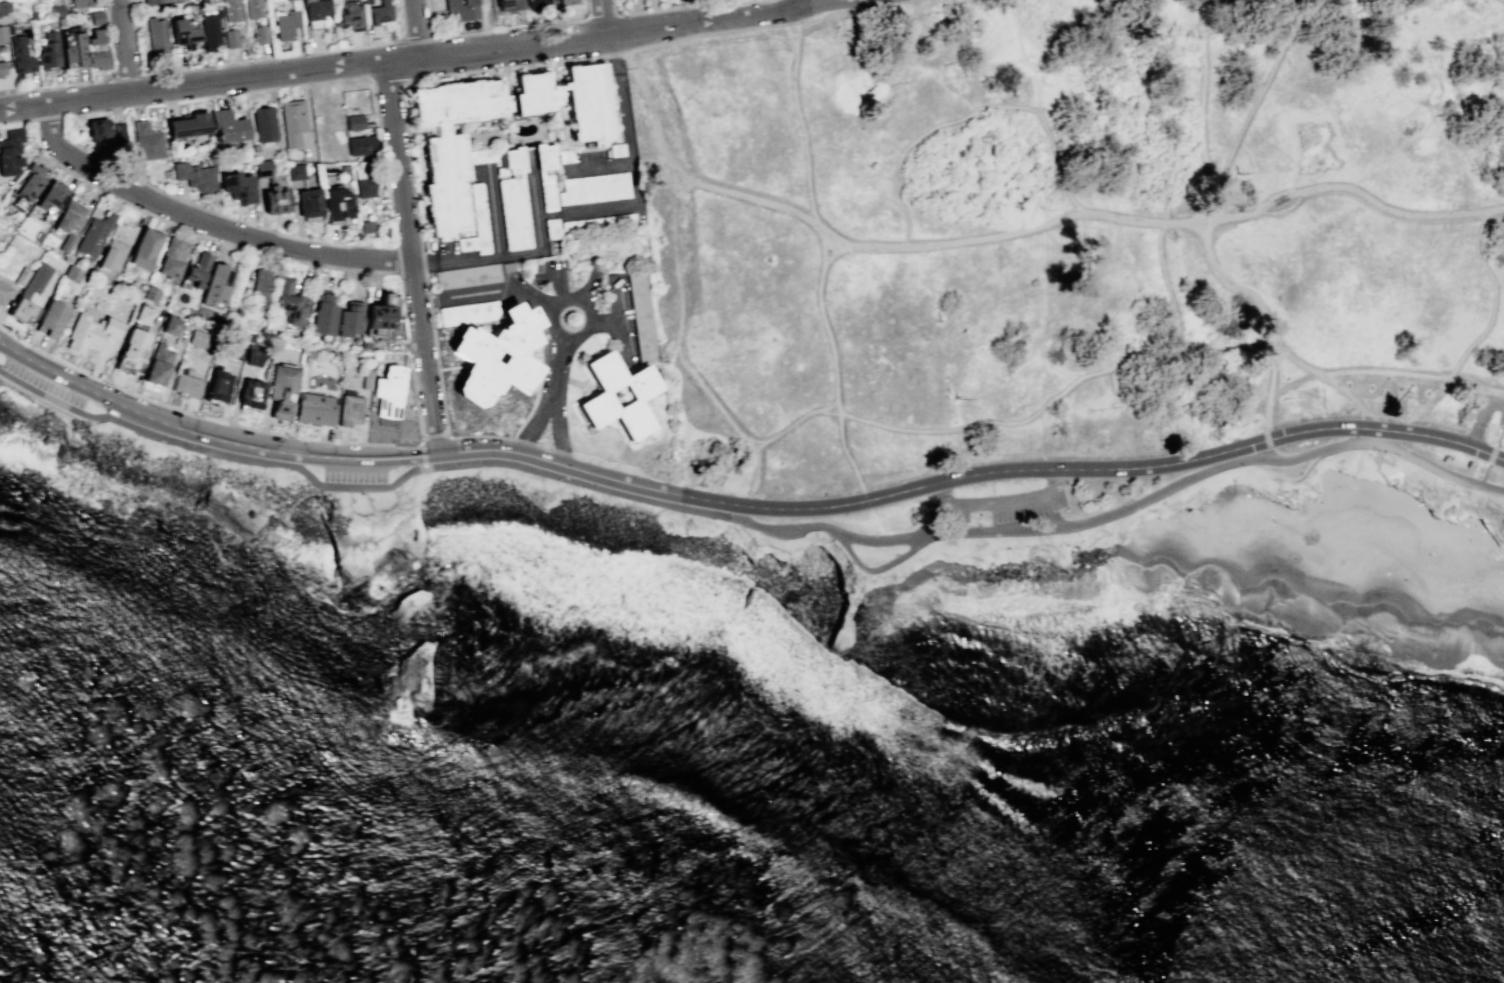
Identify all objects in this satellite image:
road: (1503, 0)
building: (52, 1)
building: (162, 1)
building: (365, 1)
building: (566, 1)
building: (80, 3)
building: (534, 3)
building: (508, 4)
road: (801, 5)
building: (4, 7)
road: (679, 7)
building: (253, 8)
building: (55, 10)
building: (230, 10)
building: (460, 10)
building: (314, 12)
building: (31, 14)
building: (349, 14)
building: (380, 14)
road: (598, 14)
building: (96, 17)
road: (603, 17)
road: (734, 18)
road: (401, 21)
road: (1347, 21)
building: (285, 25)
road: (417, 28)
building: (8, 29)
road: (488, 29)
building: (209, 30)
building: (2, 33)
building: (182, 33)
building: (259, 34)
building: (155, 36)
building: (230, 38)
road: (413, 38)
building: (1, 46)
building: (72, 47)
road: (125, 47)
building: (96, 50)
building: (48, 51)
building: (20, 54)
road: (270, 57)
building: (1, 68)
road: (1439, 68)
road: (302, 70)
road: (1261, 86)
road: (43, 87)
road: (387, 88)
road: (399, 90)
building: (569, 101)
road: (1203, 110)
road: (800, 117)
road: (46, 120)
building: (292, 121)
building: (353, 122)
building: (263, 123)
building: (187, 125)
building: (226, 126)
building: (97, 128)
building: (119, 134)
building: (146, 141)
building: (451, 143)
building: (360, 144)
road: (381, 144)
building: (616, 149)
building: (10, 152)
building: (481, 155)
building: (564, 155)
road: (599, 167)
building: (294, 172)
building: (545, 173)
building: (193, 175)
building: (363, 178)
building: (28, 182)
road: (1477, 183)
road: (533, 185)
building: (237, 187)
building: (593, 188)
building: (271, 189)
road: (165, 193)
building: (51, 195)
building: (513, 199)
building: (308, 204)
building: (337, 204)
road: (592, 211)
road: (1282, 211)
road: (493, 213)
building: (69, 216)
road: (296, 218)
building: (475, 223)
road: (204, 224)
building: (366, 227)
road: (1013, 230)
building: (94, 233)
park: (1074, 234)
building: (39, 237)
road: (299, 237)
building: (67, 243)
road: (347, 244)
road: (822, 244)
building: (144, 248)
road: (262, 253)
building: (111, 254)
road: (410, 257)
building: (171, 258)
road: (395, 259)
building: (196, 269)
road: (410, 272)
road: (1161, 273)
building: (72, 274)
building: (22, 276)
building: (467, 276)
building: (216, 283)
road: (559, 284)
building: (257, 289)
road: (583, 289)
road: (498, 290)
building: (4, 292)
building: (29, 292)
building: (151, 294)
road: (579, 297)
building: (287, 300)
building: (468, 312)
building: (144, 314)
building: (323, 314)
road: (1266, 314)
building: (642, 315)
building: (380, 316)
building: (349, 317)
building: (50, 319)
road: (618, 319)
road: (605, 321)
road: (681, 324)
building: (170, 326)
road: (1039, 332)
building: (91, 333)
building: (199, 339)
building: (133, 348)
building: (231, 348)
building: (254, 354)
building: (496, 356)
road: (833, 363)
building: (158, 364)
road: (559, 367)
road: (1383, 372)
building: (367, 379)
road: (1291, 381)
parking lot: (43, 383)
building: (187, 385)
building: (218, 388)
building: (281, 389)
building: (388, 391)
road: (1347, 392)
building: (251, 393)
park: (15, 394)
building: (637, 395)
road: (555, 397)
road: (1497, 403)
building: (315, 409)
building: (350, 409)
parking lot: (1488, 409)
road: (1361, 414)
road: (200, 416)
road: (1480, 423)
road: (1368, 424)
road: (896, 425)
road: (1500, 426)
road: (1376, 431)
road: (1498, 434)
road: (434, 437)
road: (522, 440)
road: (1267, 441)
road: (403, 444)
road: (417, 444)
road: (1491, 454)
road: (421, 455)
road: (1275, 455)
park: (140, 460)
parking lot: (353, 473)
road: (1482, 475)
road: (1060, 478)
road: (1289, 478)
building: (776, 488)
road: (945, 495)
road: (404, 497)
road: (395, 500)
road: (866, 500)
road: (368, 503)
parking lot: (1002, 503)
road: (1005, 504)
road: (388, 506)
road: (742, 507)
road: (350, 509)
road: (374, 513)
road: (749, 522)
road: (877, 523)
park: (1063, 531)
road: (892, 559)

